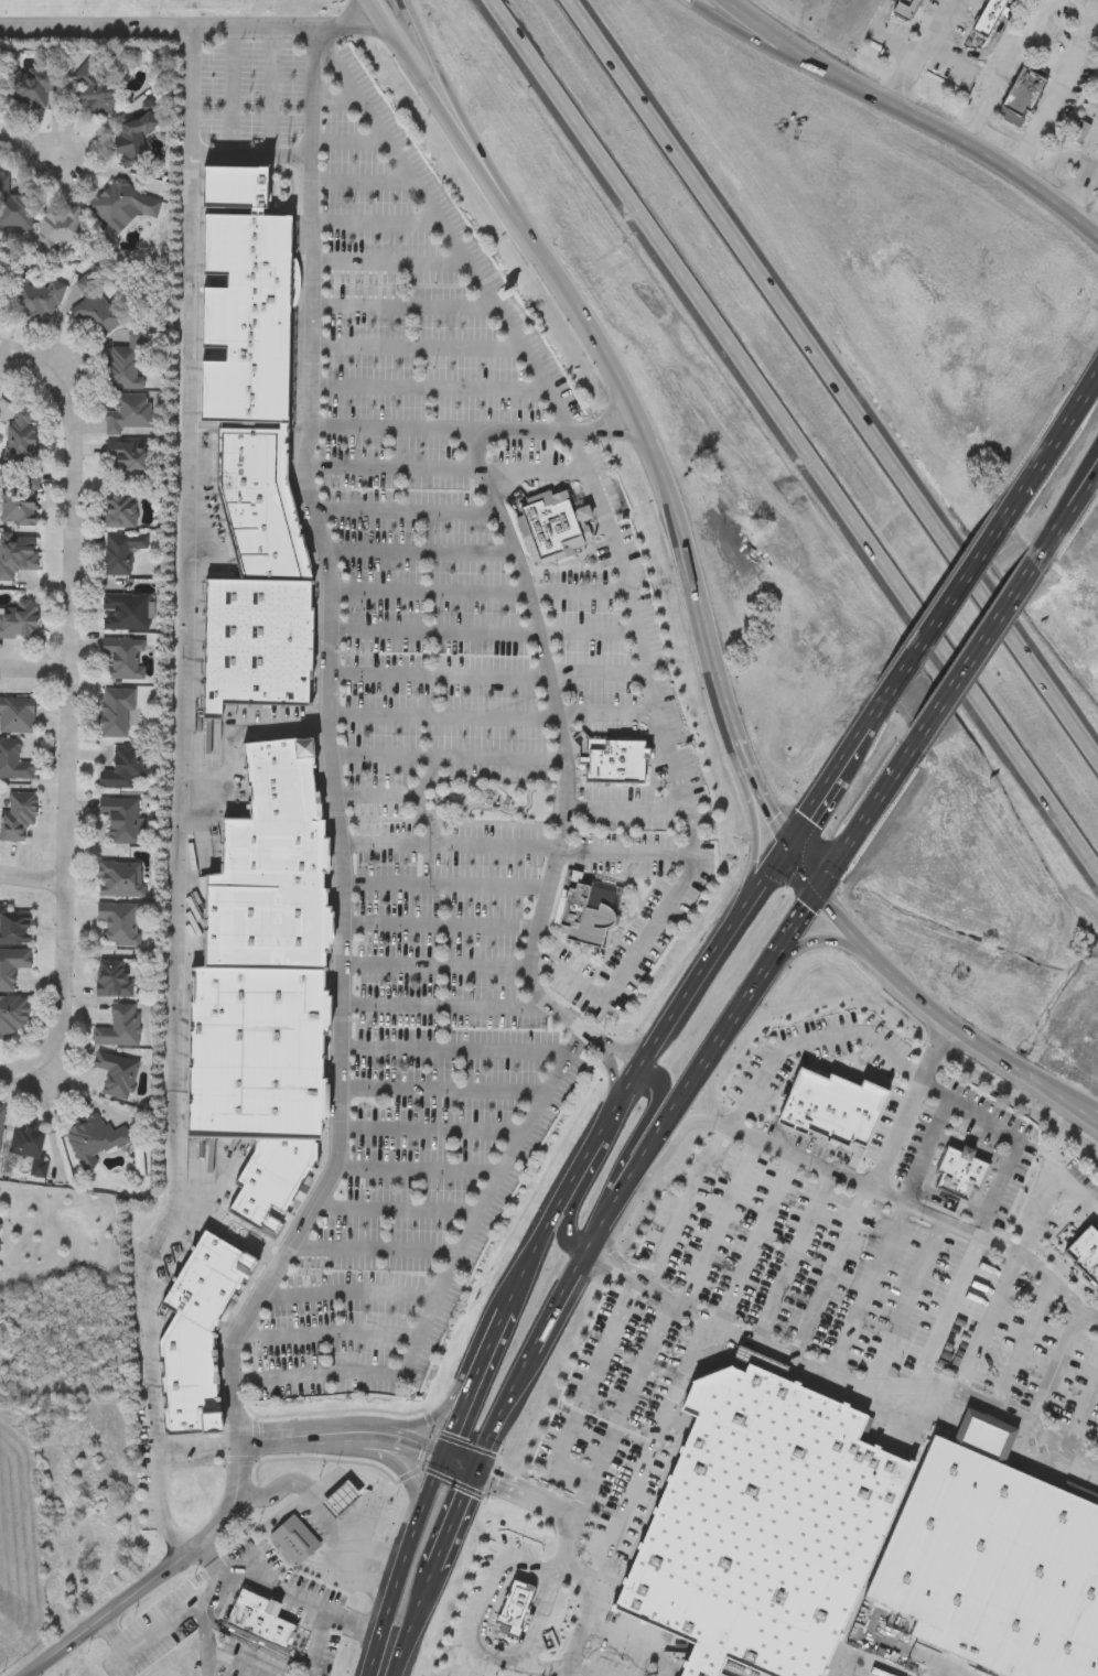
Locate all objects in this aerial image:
building: (906, 8)
building: (988, 19)
road: (189, 23)
road: (1031, 32)
road: (876, 37)
road: (993, 39)
road: (922, 46)
road: (943, 50)
road: (851, 85)
road: (1054, 86)
building: (28, 87)
road: (232, 89)
road: (271, 89)
building: (95, 90)
building: (1023, 94)
road: (452, 99)
road: (337, 102)
road: (922, 109)
road: (981, 120)
building: (1078, 132)
building: (132, 140)
road: (351, 144)
road: (34, 151)
road: (250, 155)
road: (1081, 176)
road: (1090, 177)
road: (364, 184)
building: (123, 203)
building: (13, 208)
road: (376, 224)
building: (57, 229)
road: (448, 234)
road: (390, 266)
road: (762, 281)
building: (1, 288)
building: (36, 299)
building: (246, 309)
road: (403, 309)
building: (94, 310)
road: (704, 310)
road: (416, 347)
road: (10, 360)
building: (127, 364)
road: (428, 389)
road: (631, 399)
building: (126, 413)
road: (607, 415)
road: (440, 430)
building: (20, 436)
road: (611, 436)
building: (254, 441)
road: (1049, 442)
building: (126, 462)
road: (392, 467)
road: (536, 472)
building: (256, 493)
building: (19, 500)
road: (1068, 505)
building: (120, 509)
road: (498, 510)
road: (407, 512)
road: (602, 512)
building: (552, 528)
road: (419, 551)
building: (120, 553)
building: (17, 555)
building: (274, 555)
road: (426, 590)
road: (577, 591)
road: (984, 598)
building: (125, 613)
road: (935, 619)
building: (20, 621)
road: (431, 634)
road: (588, 635)
building: (258, 642)
road: (973, 649)
road: (644, 655)
road: (73, 657)
building: (123, 658)
road: (944, 658)
road: (36, 669)
road: (437, 677)
road: (599, 678)
road: (1053, 698)
building: (115, 712)
building: (17, 716)
road: (442, 716)
building: (279, 746)
road: (332, 750)
road: (448, 758)
building: (616, 759)
building: (280, 760)
building: (13, 761)
road: (675, 765)
building: (122, 768)
road: (179, 782)
road: (827, 786)
road: (1033, 787)
building: (284, 792)
road: (377, 794)
park: (497, 800)
building: (17, 814)
road: (862, 818)
building: (121, 819)
road: (689, 826)
road: (754, 840)
building: (276, 845)
road: (450, 846)
traffic signals: (786, 850)
road: (556, 857)
road: (34, 878)
building: (119, 879)
road: (444, 887)
traffic signals: (817, 887)
road: (663, 906)
building: (589, 910)
building: (266, 919)
building: (118, 924)
road: (439, 926)
building: (14, 928)
road: (818, 937)
road: (879, 963)
building: (11, 967)
road: (433, 967)
building: (114, 978)
road: (444, 1005)
building: (258, 1009)
building: (12, 1018)
building: (118, 1028)
road: (811, 1039)
road: (453, 1051)
road: (47, 1056)
road: (637, 1074)
building: (116, 1075)
road: (1046, 1081)
road: (1046, 1086)
road: (443, 1089)
building: (257, 1095)
building: (797, 1095)
road: (713, 1096)
building: (811, 1101)
road: (907, 1104)
building: (835, 1106)
building: (855, 1112)
building: (871, 1114)
building: (1, 1121)
road: (430, 1131)
road: (637, 1131)
road: (1011, 1134)
building: (93, 1142)
building: (28, 1147)
road: (928, 1150)
road: (668, 1154)
building: (288, 1159)
road: (419, 1168)
building: (961, 1171)
building: (265, 1199)
road: (1046, 1200)
road: (578, 1203)
road: (685, 1204)
road: (916, 1208)
road: (397, 1209)
road: (720, 1223)
road: (758, 1243)
building: (1, 1248)
road: (375, 1248)
building: (1086, 1252)
building: (226, 1257)
road: (793, 1257)
road: (588, 1263)
road: (1062, 1269)
road: (832, 1274)
road: (450, 1277)
building: (212, 1280)
road: (868, 1290)
road: (345, 1291)
road: (907, 1304)
building: (196, 1306)
road: (951, 1311)
road: (988, 1322)
road: (326, 1336)
road: (1024, 1344)
building: (187, 1361)
road: (1058, 1366)
road: (841, 1381)
road: (455, 1383)
road: (475, 1383)
road: (588, 1391)
building: (191, 1406)
road: (625, 1408)
road: (1083, 1413)
building: (193, 1424)
road: (407, 1438)
road: (650, 1451)
traffic signals: (445, 1457)
road: (462, 1466)
traffic signals: (478, 1474)
road: (401, 1475)
building: (343, 1499)
gas station: (343, 1499)
road: (162, 1501)
road: (322, 1510)
building: (764, 1523)
road: (203, 1536)
building: (295, 1539)
building: (99, 1545)
road: (564, 1551)
road: (409, 1554)
building: (997, 1556)
road: (286, 1592)
building: (516, 1607)
building: (261, 1620)
road: (206, 1621)
road: (160, 1628)
road: (321, 1644)
road: (475, 1646)
road: (208, 1662)
road: (239, 1662)
road: (383, 1665)
road: (543, 1665)
road: (579, 1673)

